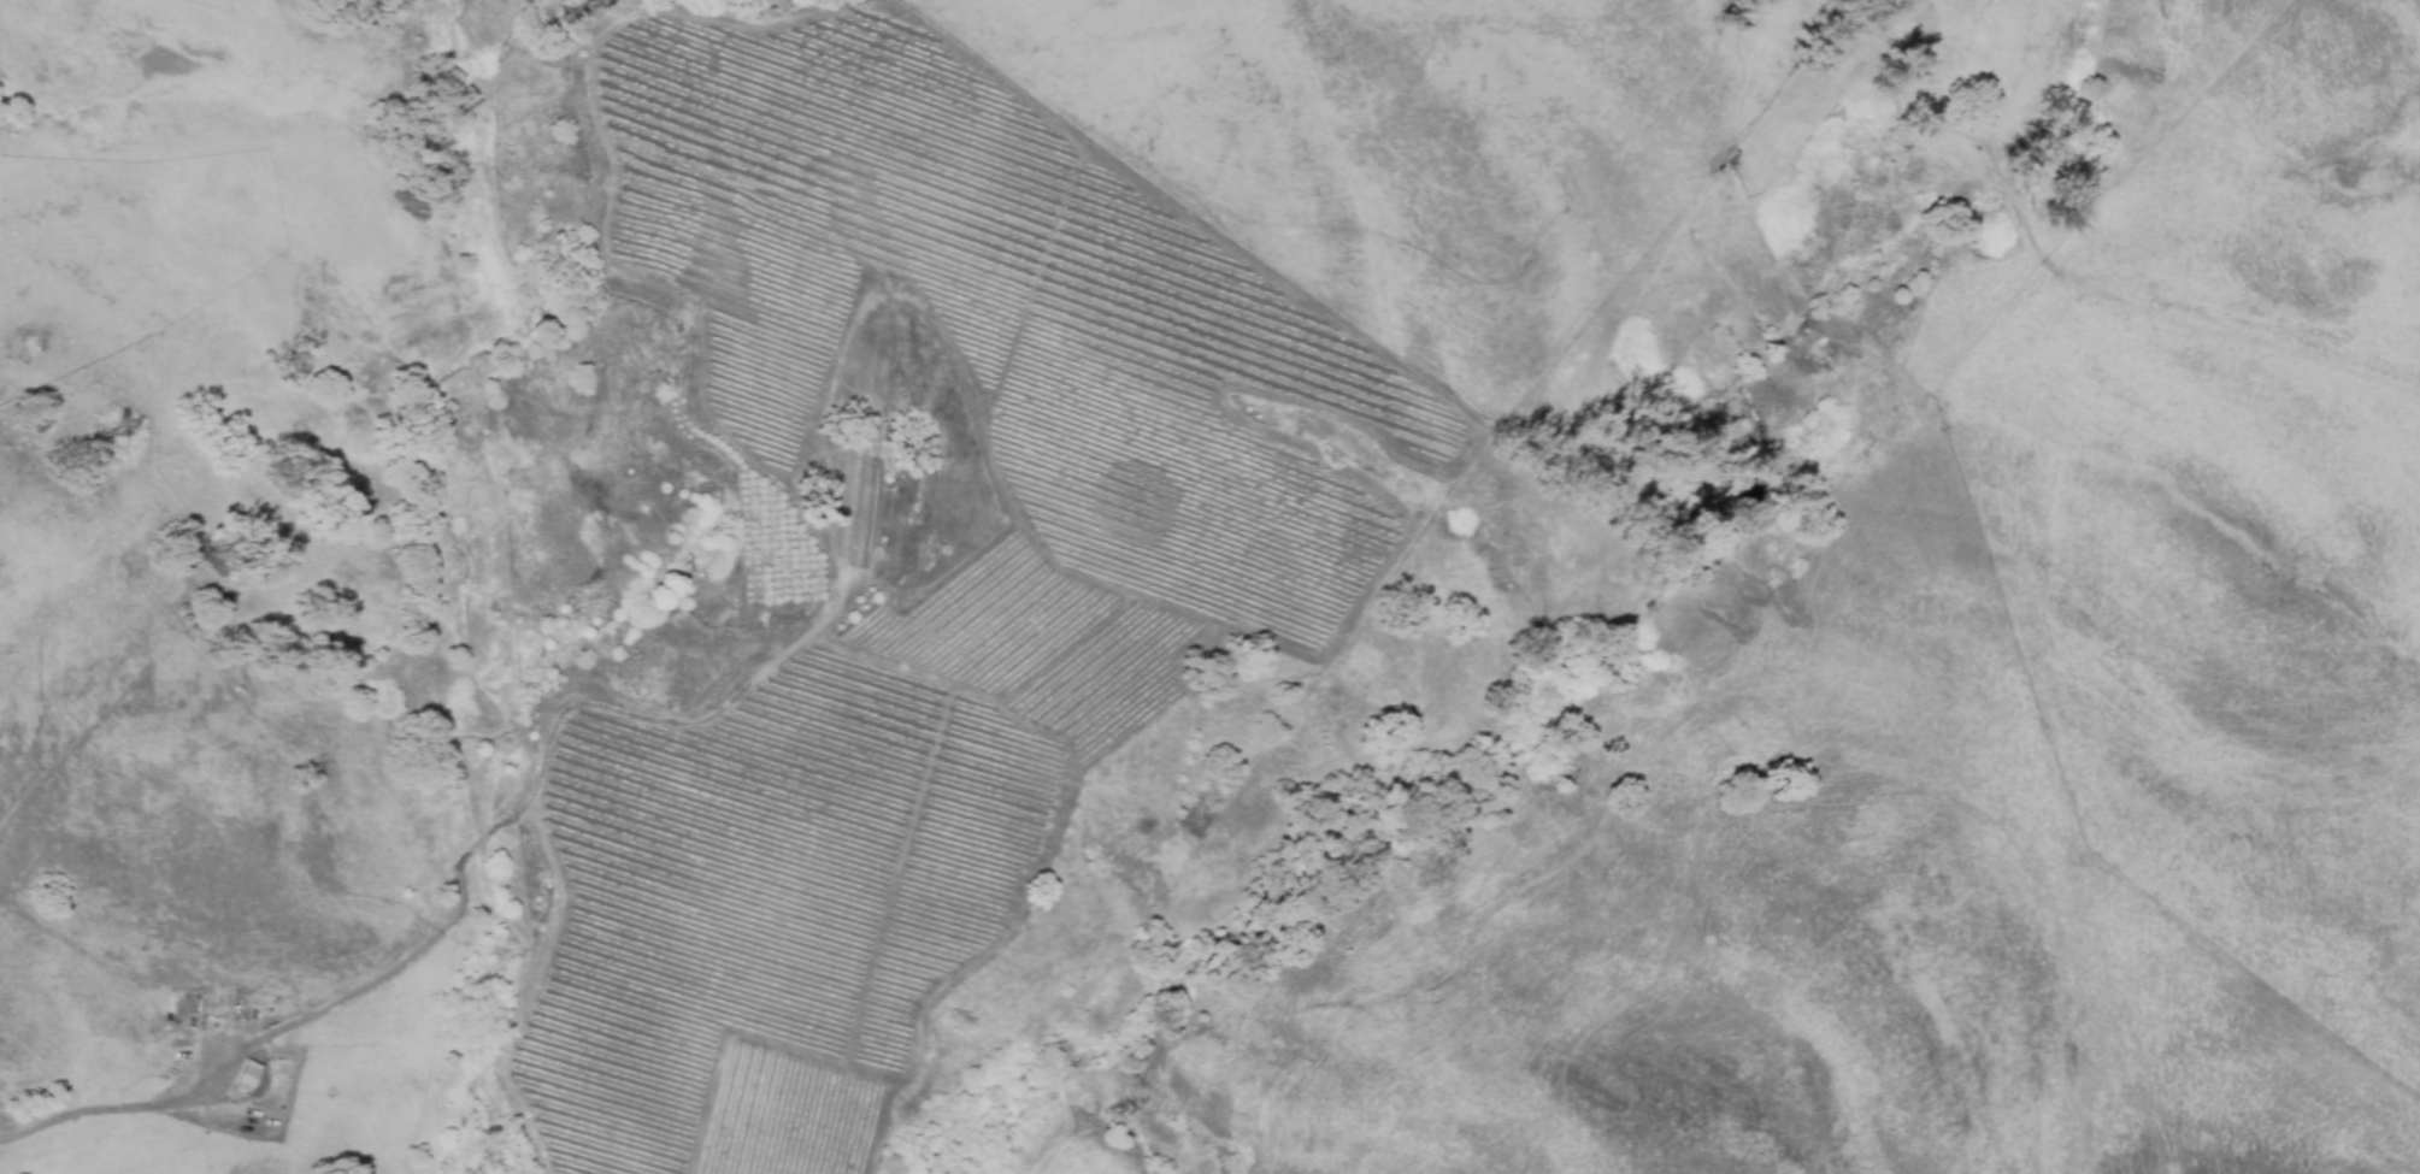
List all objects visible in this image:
building: (248, 1075)
road: (1114, 1076)
road: (123, 1109)

